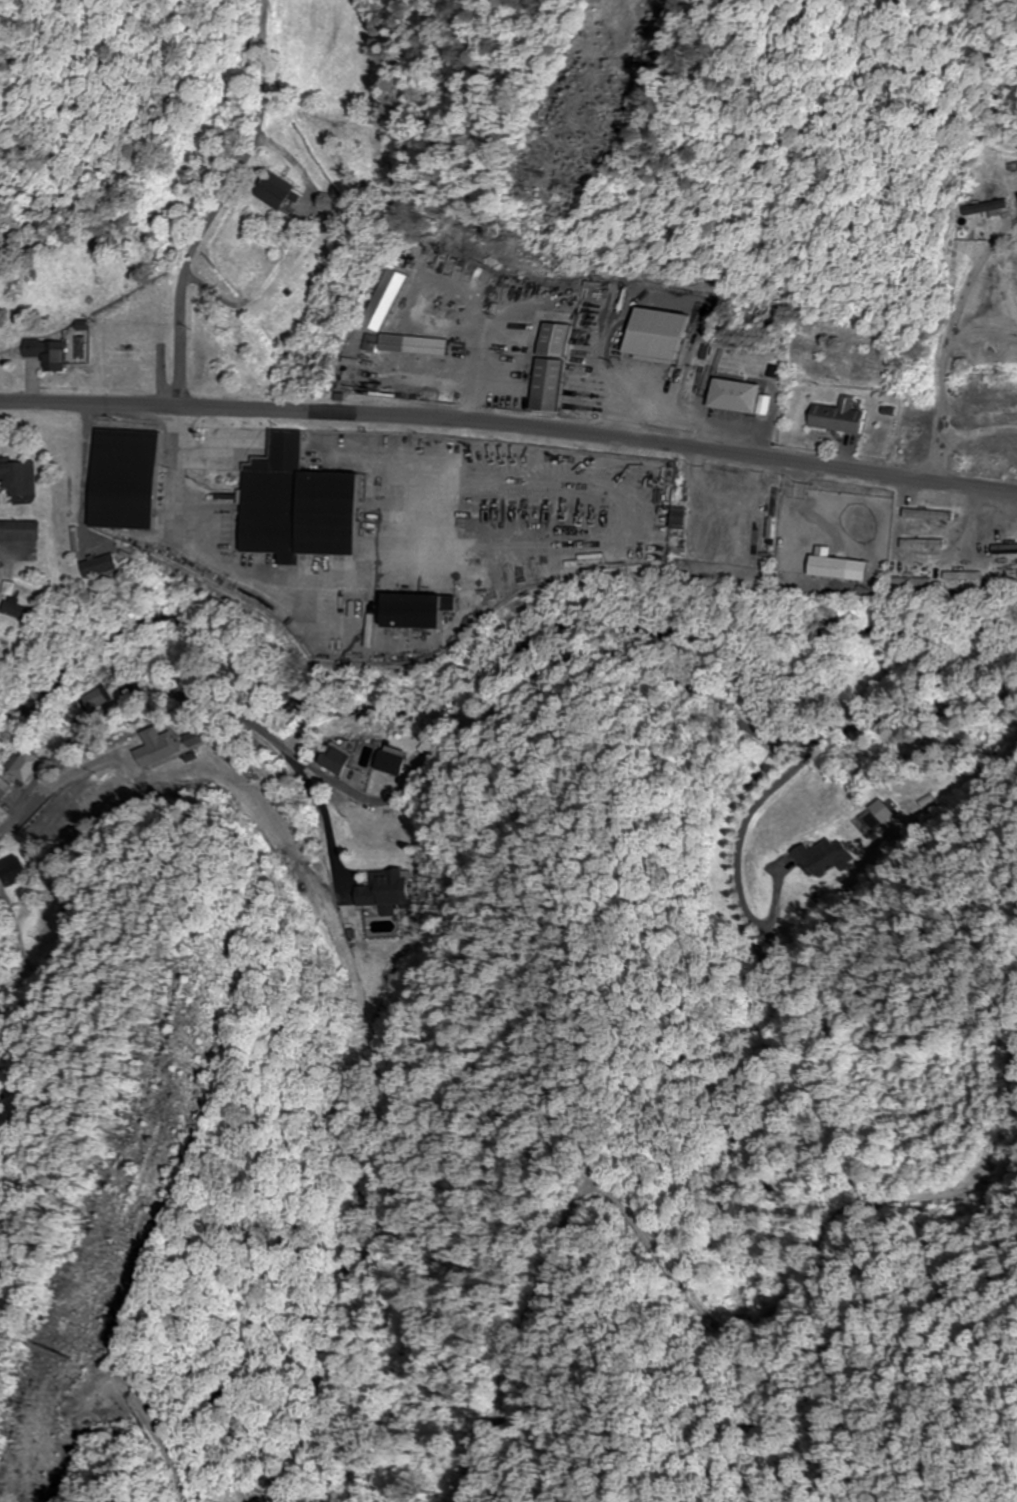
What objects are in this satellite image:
building: (357, 160)
building: (271, 190)
road: (227, 206)
building: (982, 207)
building: (381, 304)
building: (372, 343)
building: (414, 345)
building: (45, 353)
building: (133, 356)
building: (547, 367)
building: (737, 397)
building: (836, 417)
road: (510, 429)
building: (19, 477)
building: (128, 480)
building: (302, 506)
building: (931, 515)
building: (20, 530)
building: (926, 543)
building: (101, 566)
building: (841, 568)
building: (917, 582)
building: (20, 610)
building: (420, 611)
road: (674, 674)
road: (169, 696)
building: (98, 700)
building: (162, 748)
building: (338, 758)
building: (394, 761)
building: (30, 765)
building: (7, 791)
road: (339, 833)
building: (827, 858)
building: (14, 870)
building: (388, 892)
power tower: (62, 1351)

